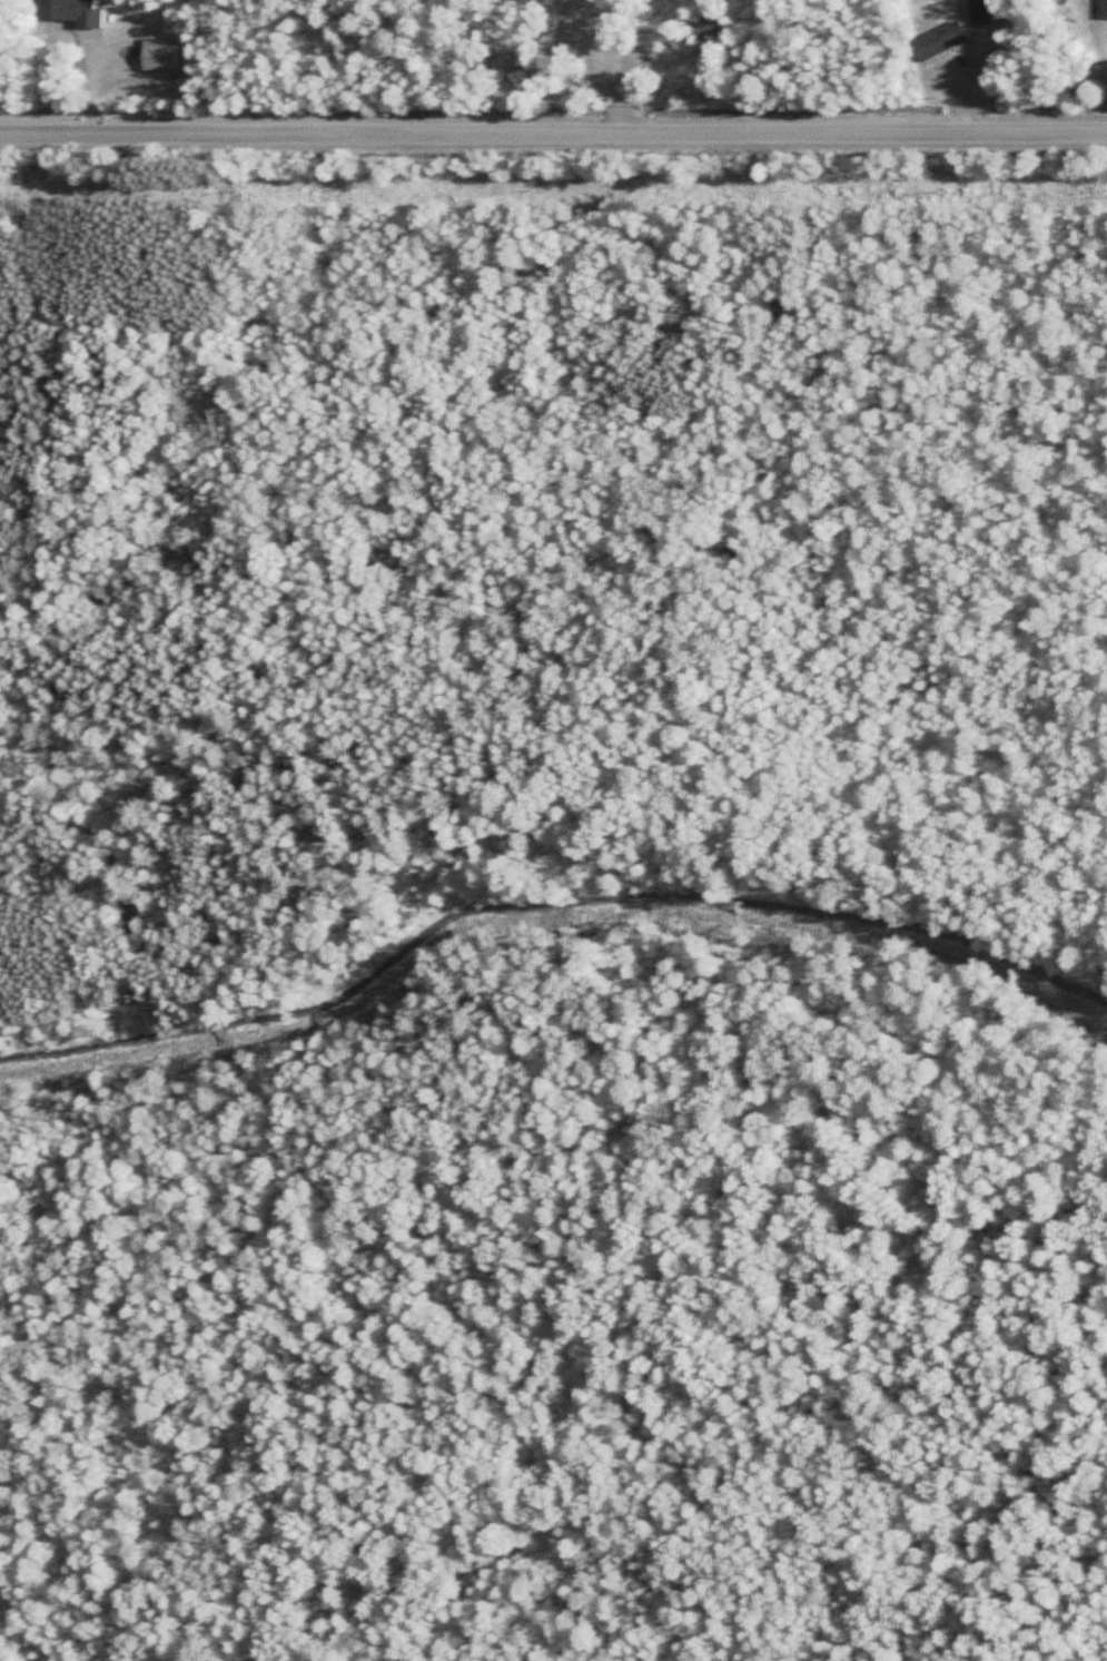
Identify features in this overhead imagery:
building: (1101, 9)
building: (75, 11)
building: (700, 26)
building: (938, 41)
road: (553, 137)

